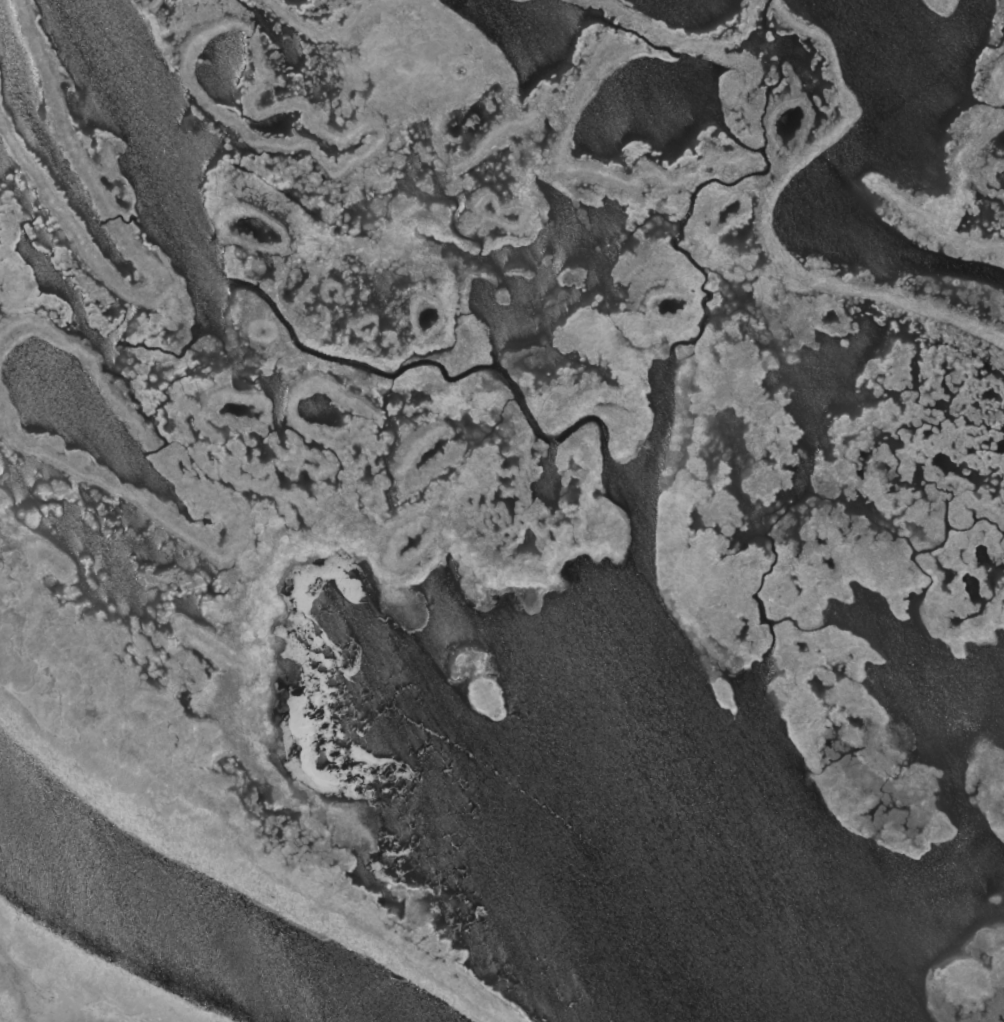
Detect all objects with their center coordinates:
river: (173, 930)

